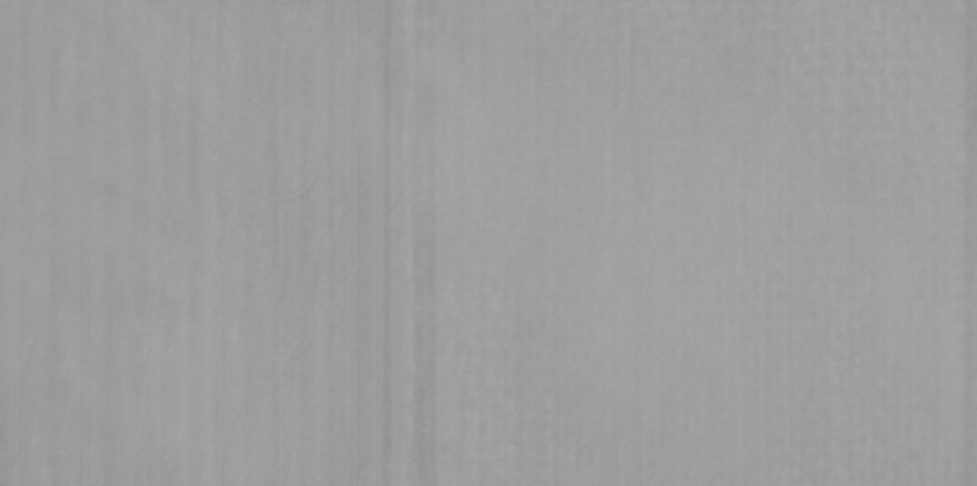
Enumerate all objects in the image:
crop: (488, 243)

